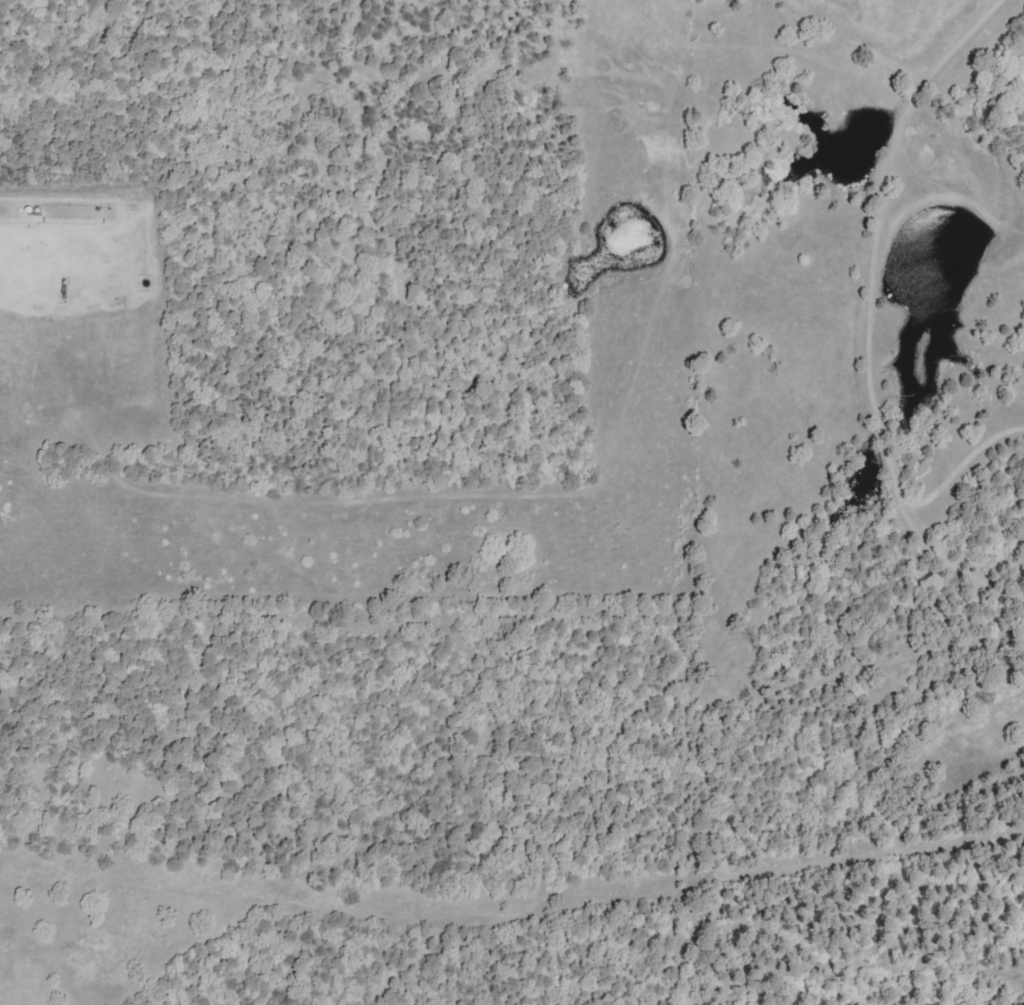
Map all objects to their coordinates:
road: (9, 222)
road: (9, 232)
petroleum well: (58, 287)
road: (865, 316)
road: (359, 642)
road: (644, 872)

